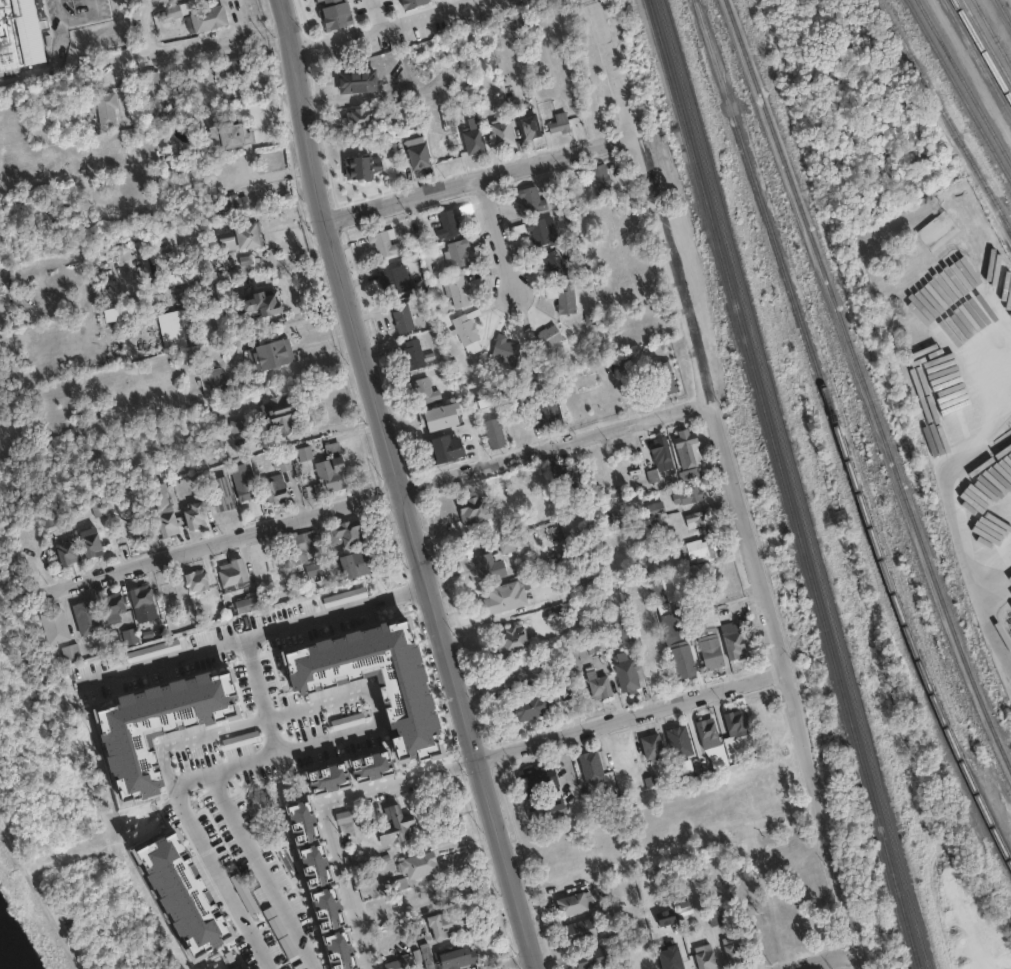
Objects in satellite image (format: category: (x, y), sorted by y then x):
building: (320, 0)
building: (406, 2)
building: (3, 5)
building: (173, 11)
building: (333, 12)
railway: (1003, 13)
building: (208, 18)
road: (81, 19)
road: (387, 26)
building: (30, 34)
railway: (991, 34)
railway: (986, 42)
building: (10, 46)
road: (169, 47)
railway: (981, 51)
railway: (976, 60)
road: (54, 61)
building: (230, 72)
road: (613, 73)
building: (356, 77)
railway: (964, 83)
building: (153, 90)
railway: (958, 92)
building: (106, 102)
building: (361, 114)
railway: (945, 115)
building: (558, 119)
building: (530, 126)
building: (226, 130)
building: (501, 130)
building: (471, 133)
building: (444, 138)
building: (417, 152)
road: (486, 179)
building: (602, 184)
building: (533, 199)
building: (232, 200)
building: (451, 219)
building: (543, 230)
building: (937, 231)
road: (501, 234)
building: (241, 238)
building: (384, 240)
building: (164, 247)
building: (457, 252)
building: (558, 261)
building: (190, 268)
building: (190, 274)
building: (393, 278)
building: (223, 286)
building: (456, 289)
building: (563, 294)
building: (264, 303)
building: (119, 307)
building: (403, 314)
building: (210, 316)
building: (196, 327)
building: (467, 332)
building: (545, 337)
building: (506, 348)
building: (414, 351)
building: (269, 353)
park: (9, 356)
building: (623, 362)
building: (660, 374)
building: (212, 382)
railway: (863, 383)
building: (424, 389)
railway: (859, 397)
building: (281, 414)
building: (87, 417)
building: (438, 417)
building: (547, 417)
building: (242, 426)
building: (493, 433)
railway: (842, 435)
building: (659, 448)
building: (687, 448)
building: (445, 449)
building: (304, 450)
building: (285, 460)
building: (330, 470)
building: (302, 472)
building: (686, 474)
building: (241, 480)
building: (569, 480)
railway: (784, 484)
railway: (793, 484)
building: (276, 487)
road: (395, 487)
building: (219, 489)
building: (685, 491)
road: (392, 493)
building: (613, 496)
building: (652, 506)
building: (99, 508)
building: (160, 508)
building: (474, 510)
building: (193, 514)
building: (695, 516)
building: (127, 520)
building: (59, 523)
building: (505, 523)
building: (350, 532)
building: (89, 541)
building: (509, 542)
building: (302, 545)
building: (700, 549)
building: (646, 550)
building: (67, 552)
road: (760, 562)
building: (357, 565)
building: (487, 565)
building: (315, 569)
building: (235, 576)
building: (197, 581)
building: (669, 588)
building: (612, 595)
building: (659, 596)
building: (504, 598)
building: (143, 603)
building: (250, 605)
building: (372, 606)
building: (115, 607)
building: (87, 616)
building: (54, 626)
building: (132, 636)
building: (623, 636)
building: (732, 637)
building: (513, 641)
building: (706, 642)
building: (678, 644)
building: (72, 652)
road: (174, 659)
building: (523, 673)
building: (367, 674)
building: (625, 674)
building: (595, 682)
road: (372, 707)
building: (531, 707)
building: (733, 721)
building: (705, 729)
road: (555, 737)
building: (677, 739)
building: (387, 740)
road: (190, 742)
building: (649, 744)
road: (272, 753)
building: (331, 759)
building: (588, 765)
building: (282, 770)
building: (540, 778)
building: (549, 810)
building: (290, 812)
building: (345, 822)
building: (396, 828)
building: (418, 864)
park: (55, 871)
road: (260, 872)
road: (346, 885)
building: (394, 885)
building: (421, 895)
road: (37, 902)
building: (572, 902)
building: (684, 909)
building: (319, 916)
building: (714, 916)
building: (444, 924)
building: (579, 930)
building: (733, 949)
building: (424, 956)
building: (588, 957)
building: (704, 957)
building: (453, 958)
building: (672, 960)
road: (831, 960)
road: (509, 963)
building: (399, 964)
building: (643, 964)
park: (840, 966)

